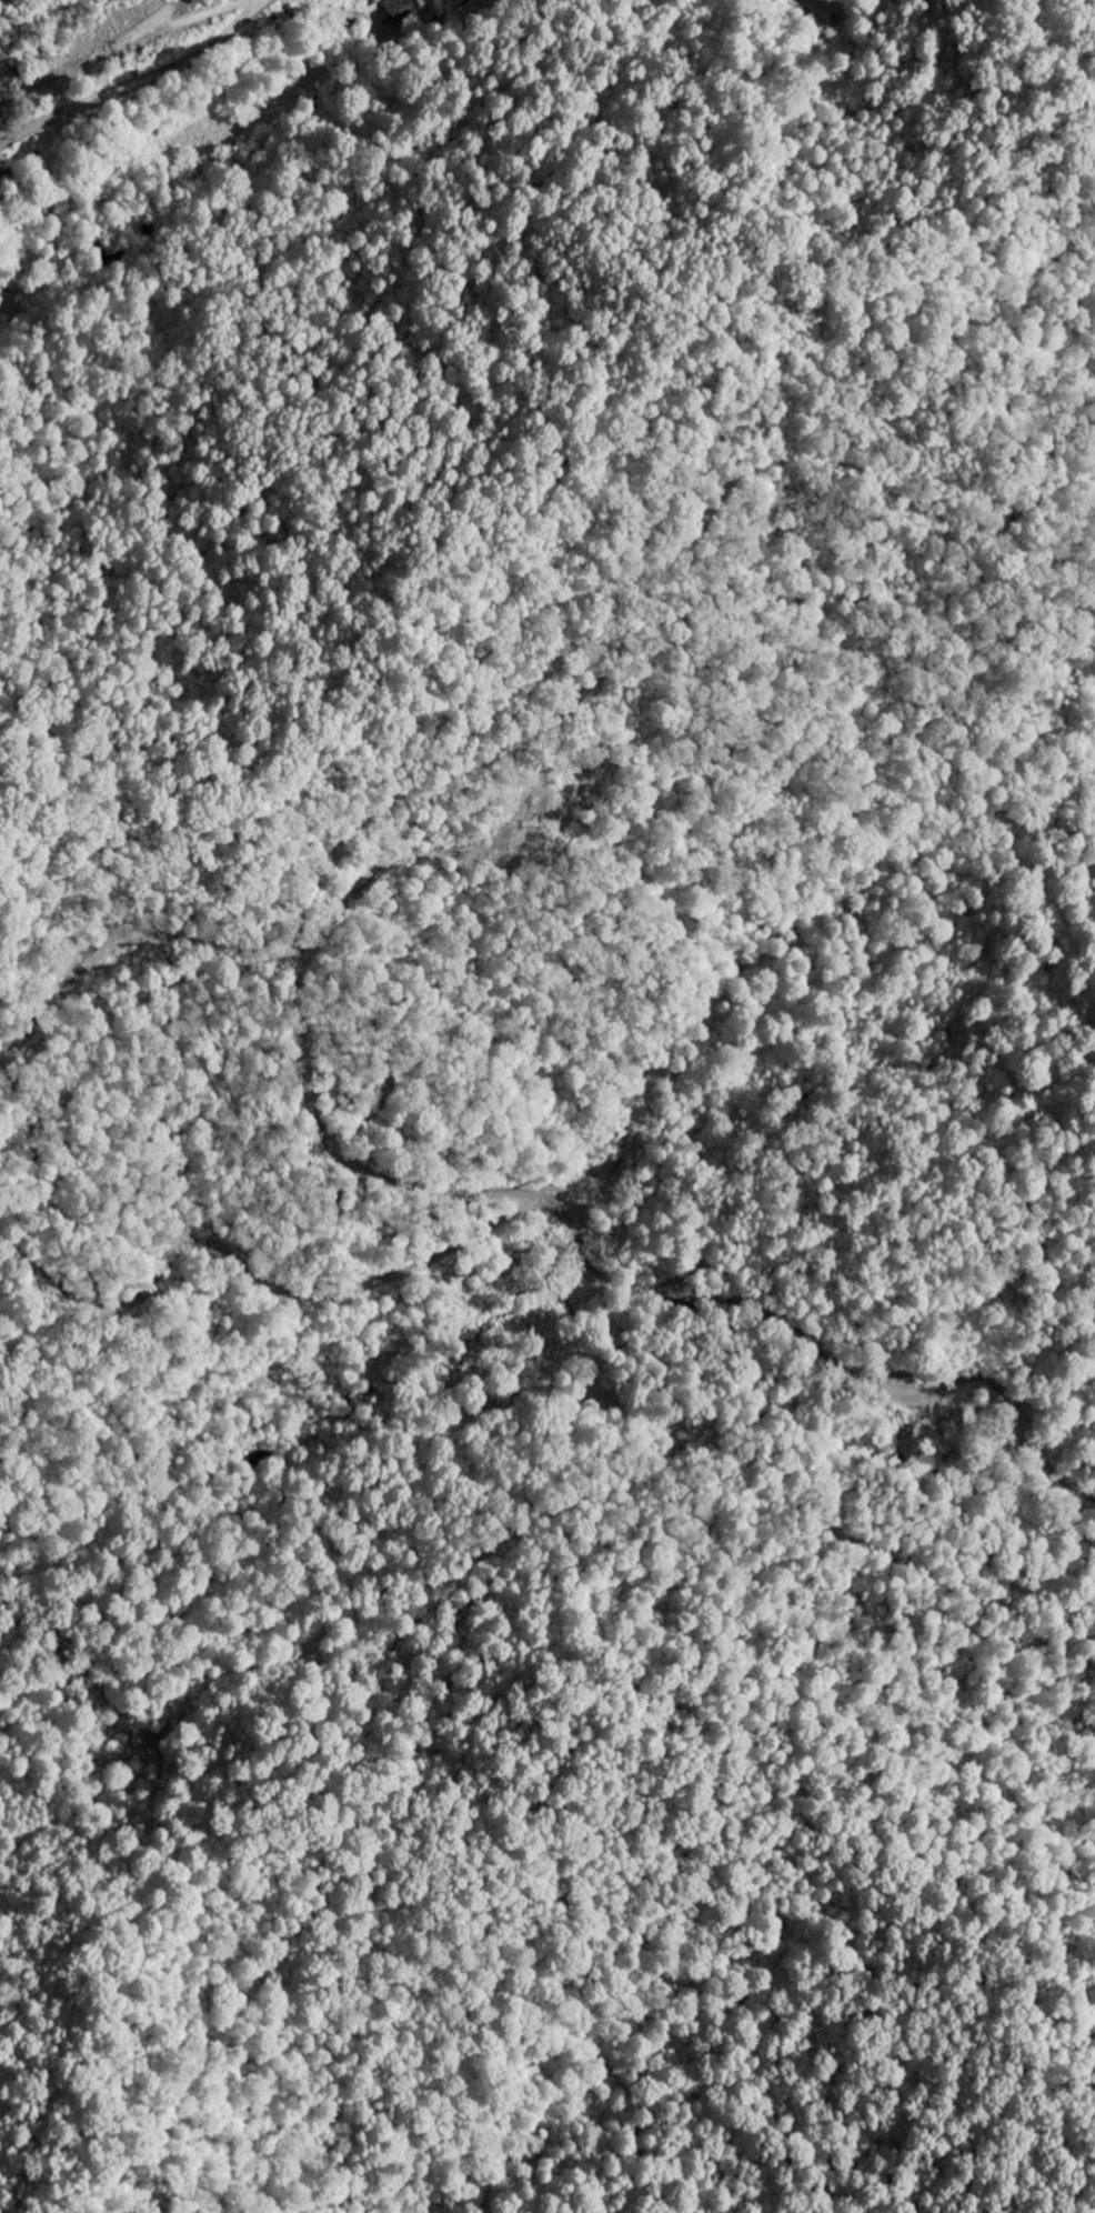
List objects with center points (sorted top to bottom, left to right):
road: (142, 82)
road: (295, 962)
road: (1091, 1103)
road: (838, 1370)

